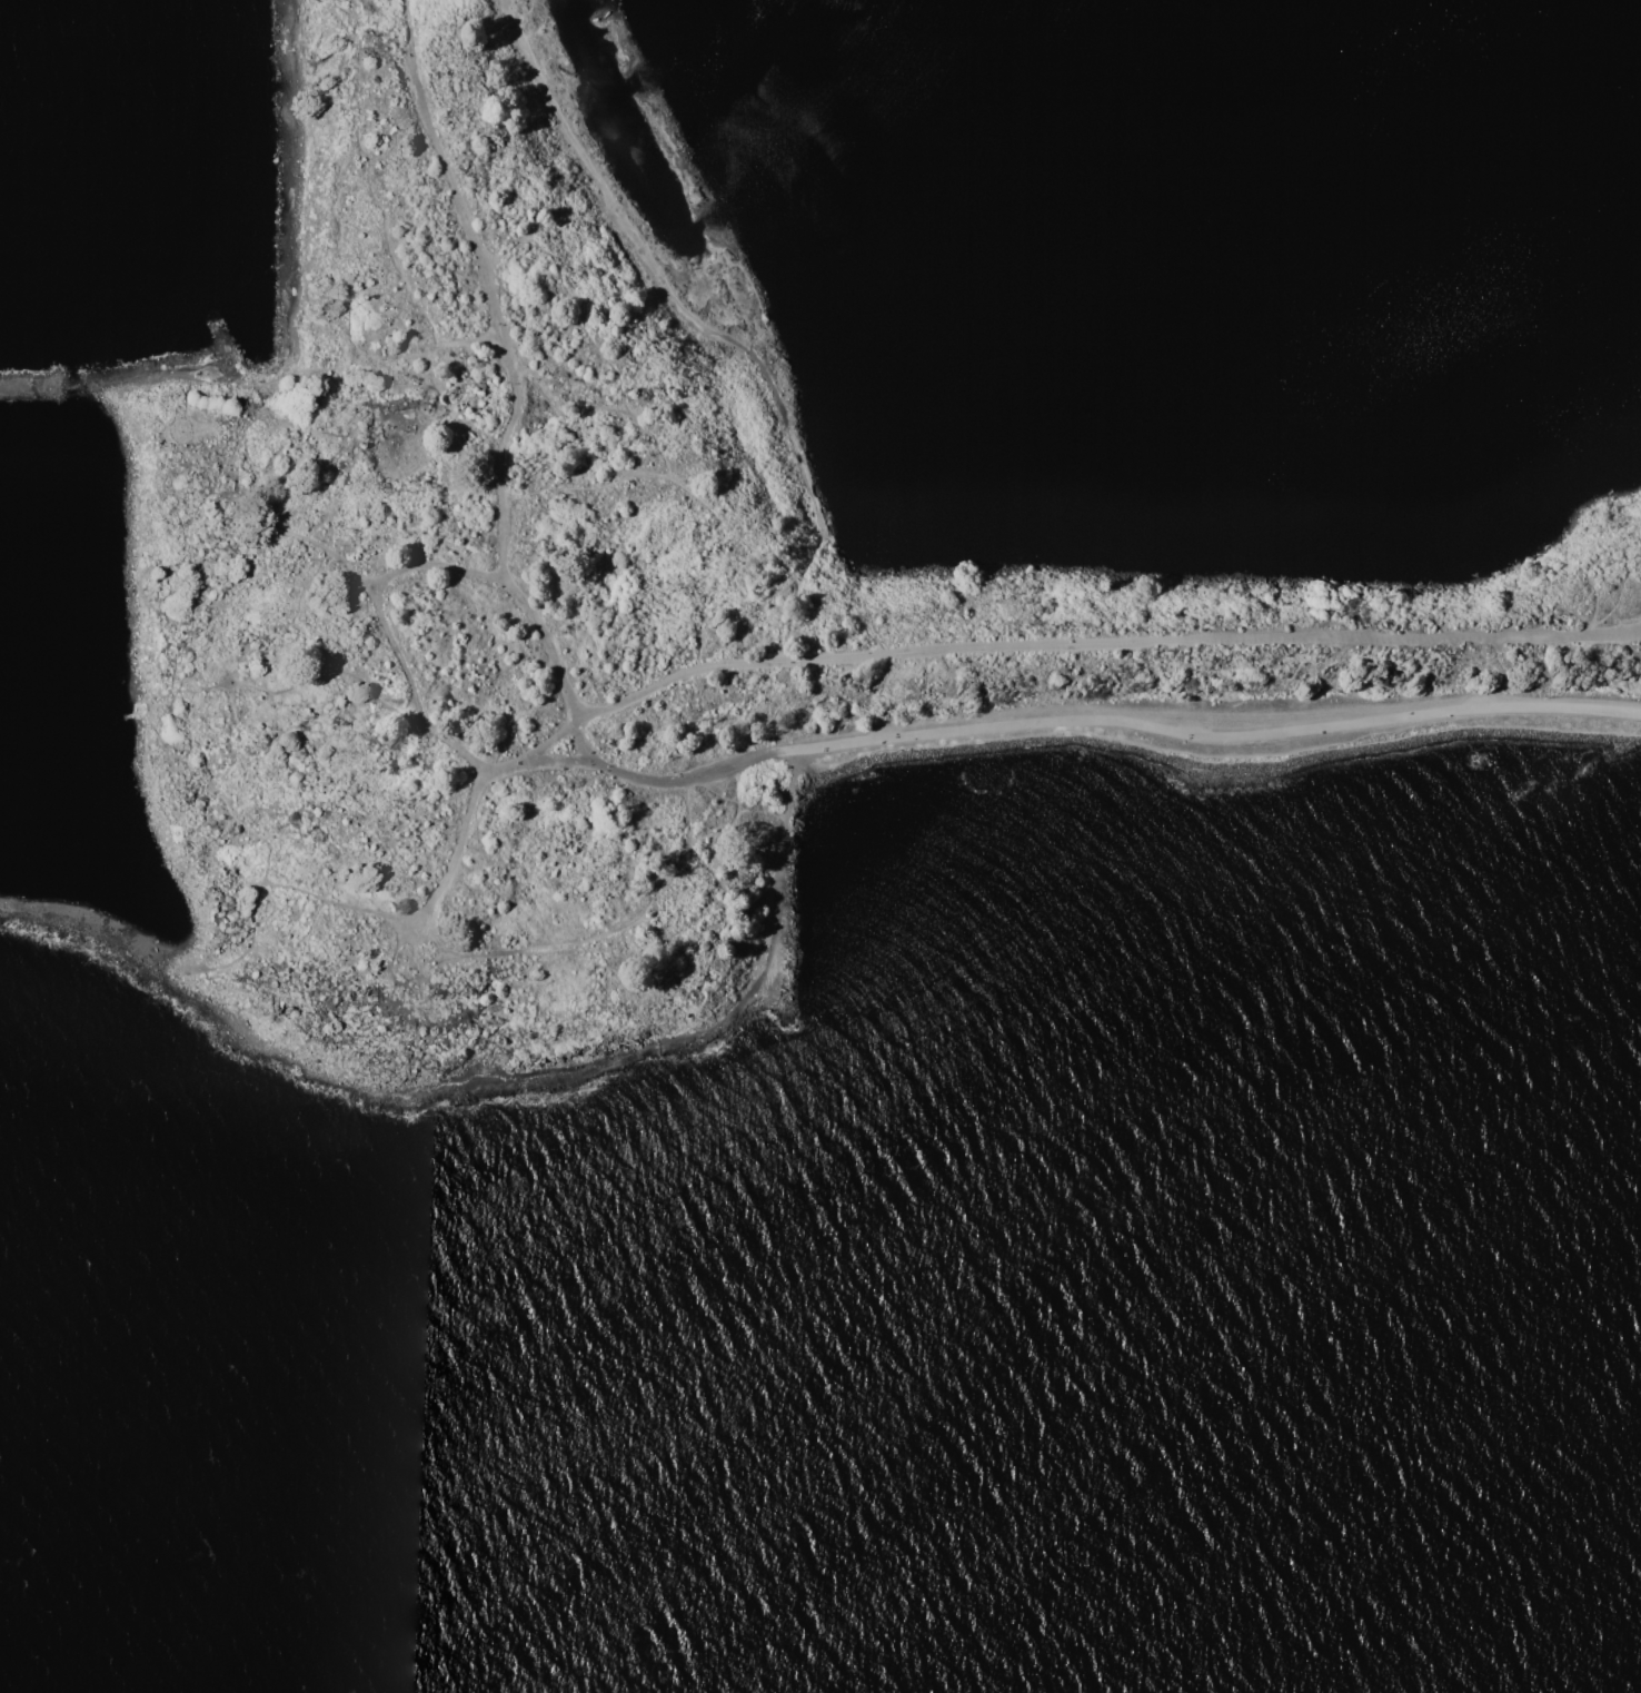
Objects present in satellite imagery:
park: (653, 101)
road: (290, 187)
road: (484, 289)
road: (699, 331)
road: (421, 370)
road: (145, 377)
road: (364, 387)
road: (246, 545)
road: (438, 564)
road: (379, 596)
park: (389, 602)
road: (1412, 643)
road: (874, 655)
park: (1098, 661)
road: (556, 662)
road: (1220, 717)
road: (563, 755)
road: (693, 779)
road: (437, 894)
road: (121, 952)
road: (265, 1024)
road: (615, 1060)

